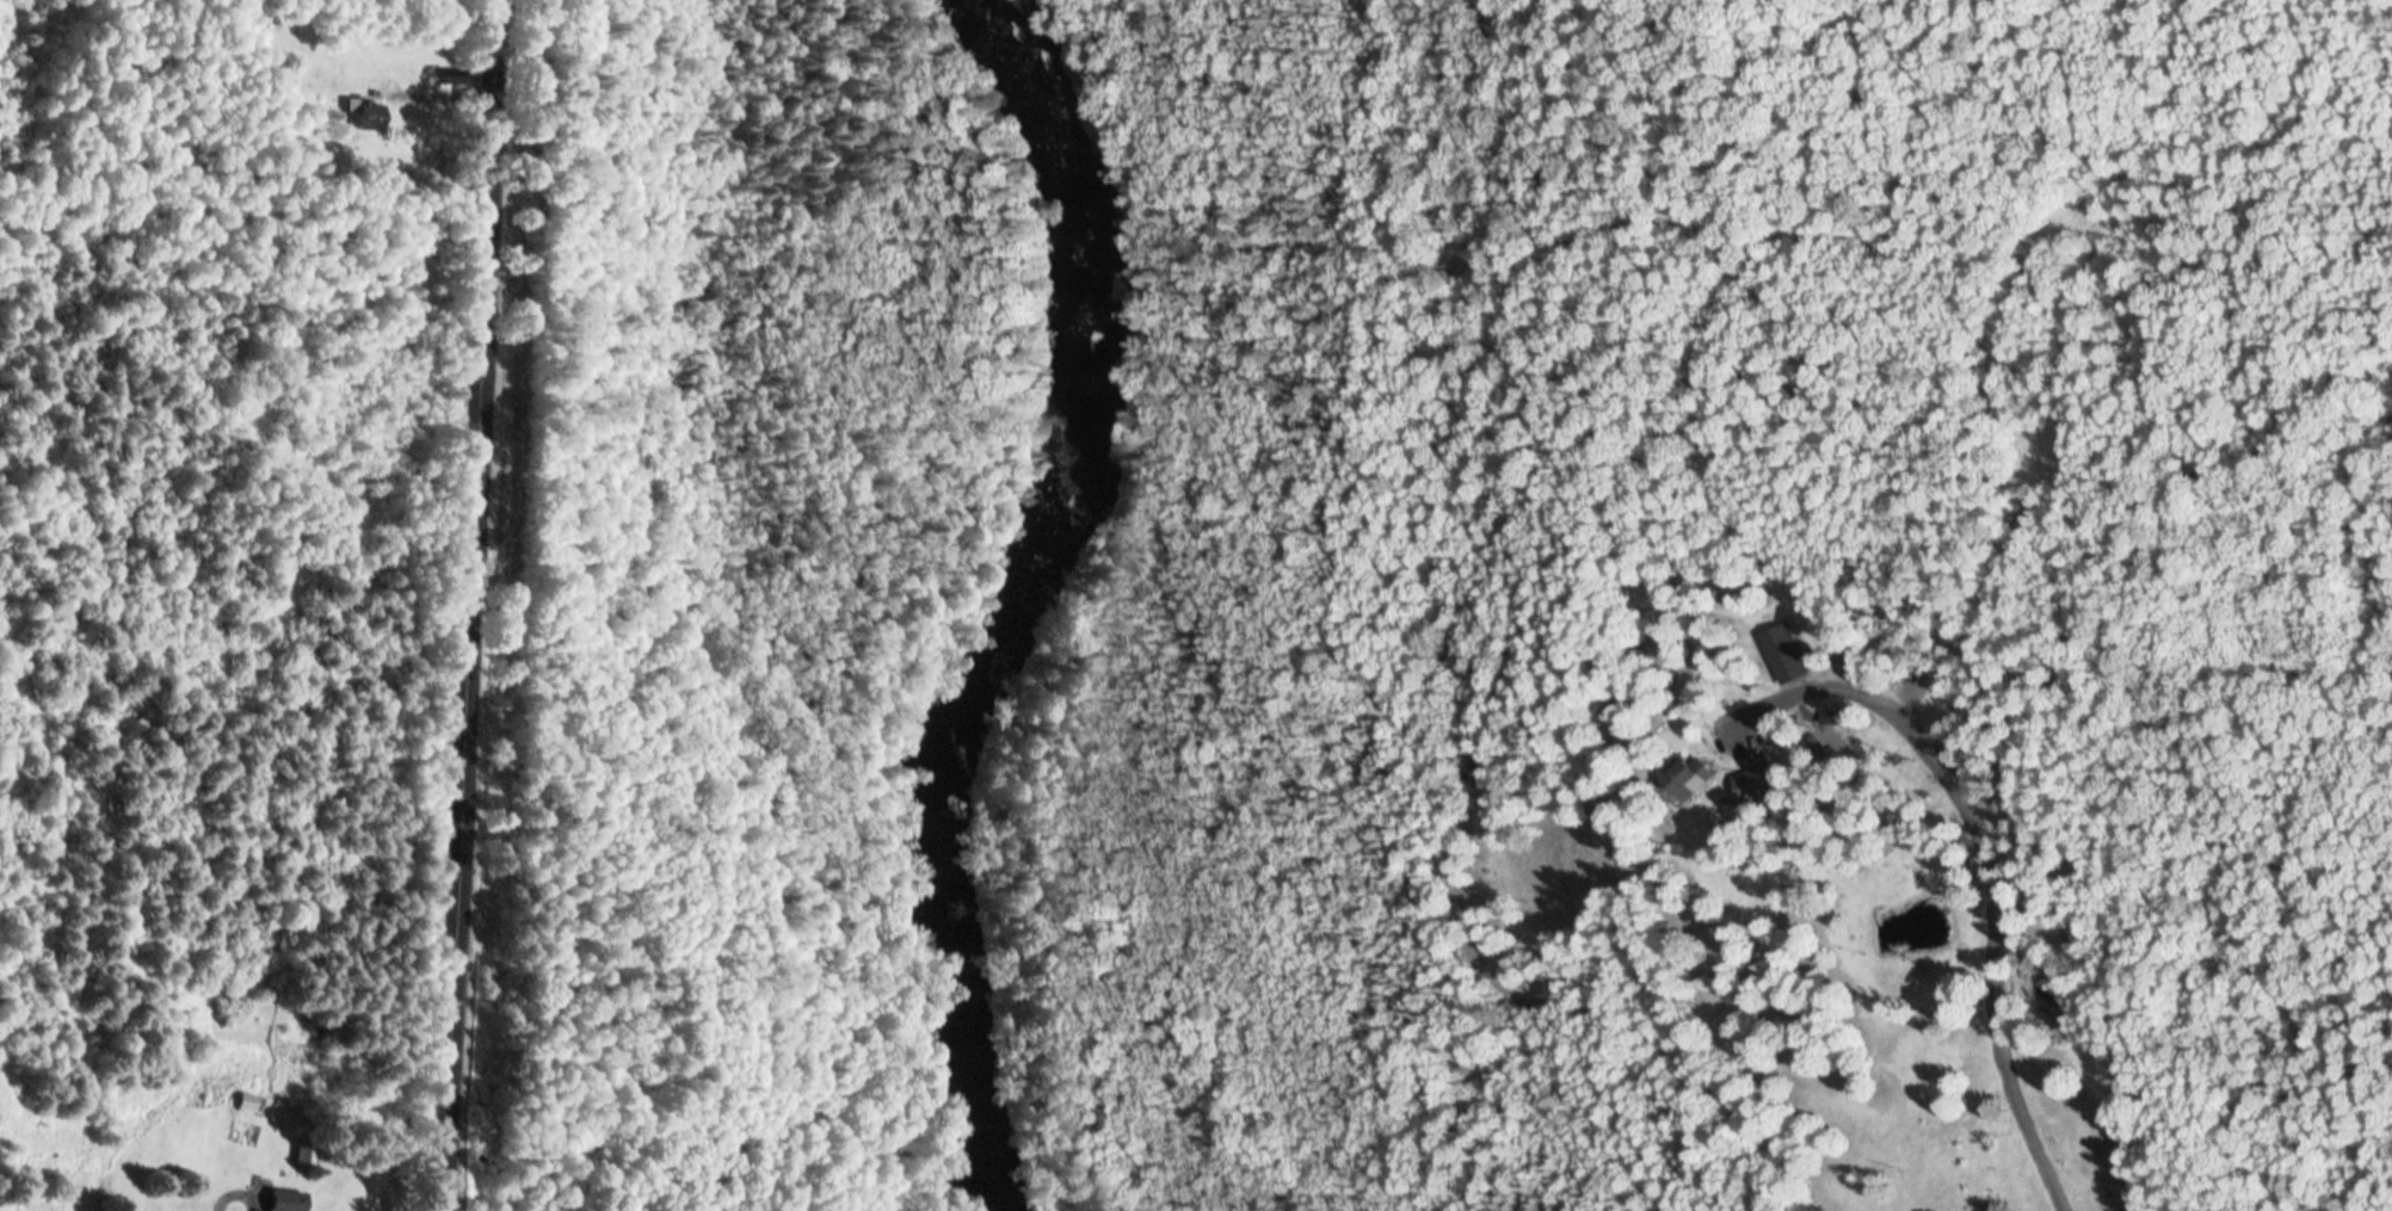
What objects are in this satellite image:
building: (365, 113)
river: (980, 601)
road: (460, 605)
building: (1782, 654)
building: (1830, 734)
building: (1684, 778)
building: (1751, 785)
building: (247, 1102)
building: (304, 1154)
building: (285, 1200)

